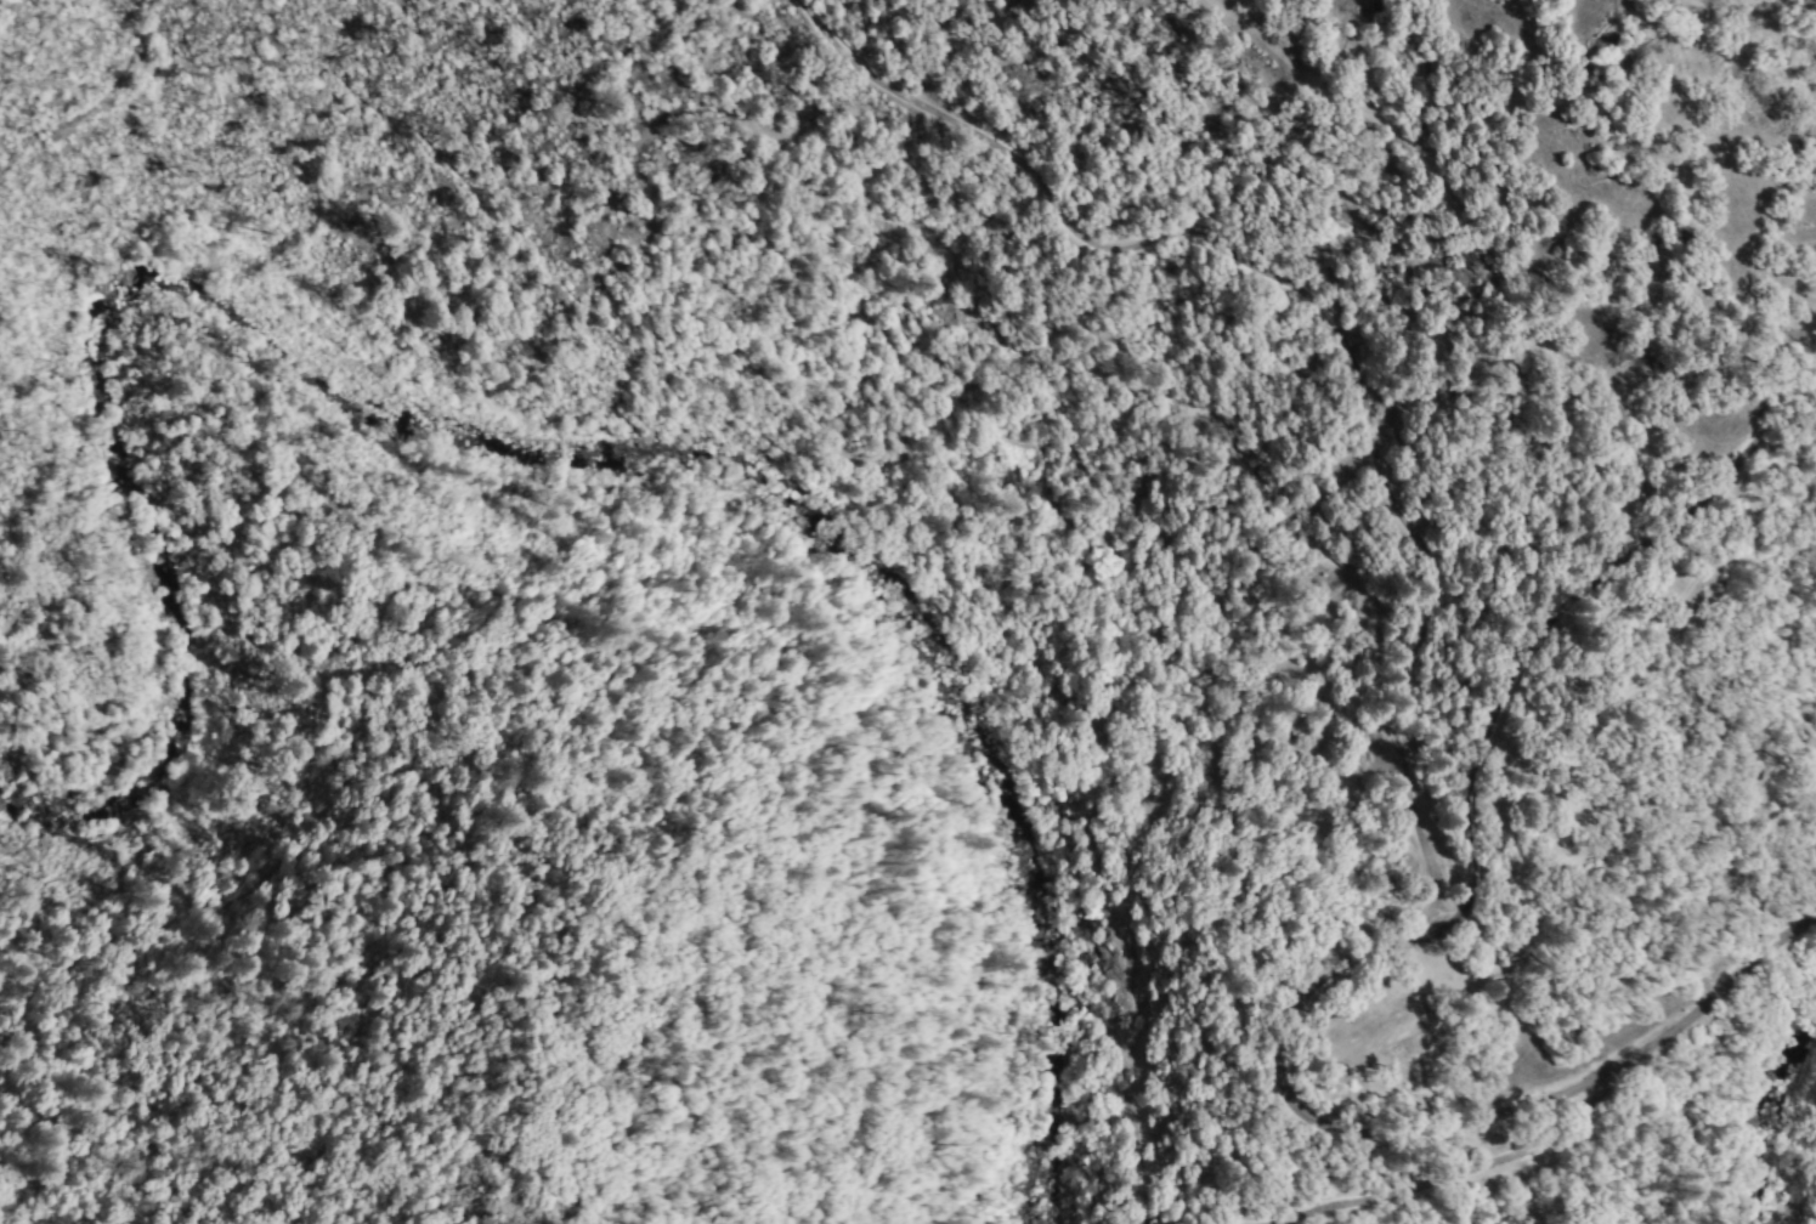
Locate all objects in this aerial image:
road: (1329, 313)
river: (504, 458)
road: (1574, 628)
road: (1443, 1124)
river: (1781, 1139)
road: (1448, 1177)

